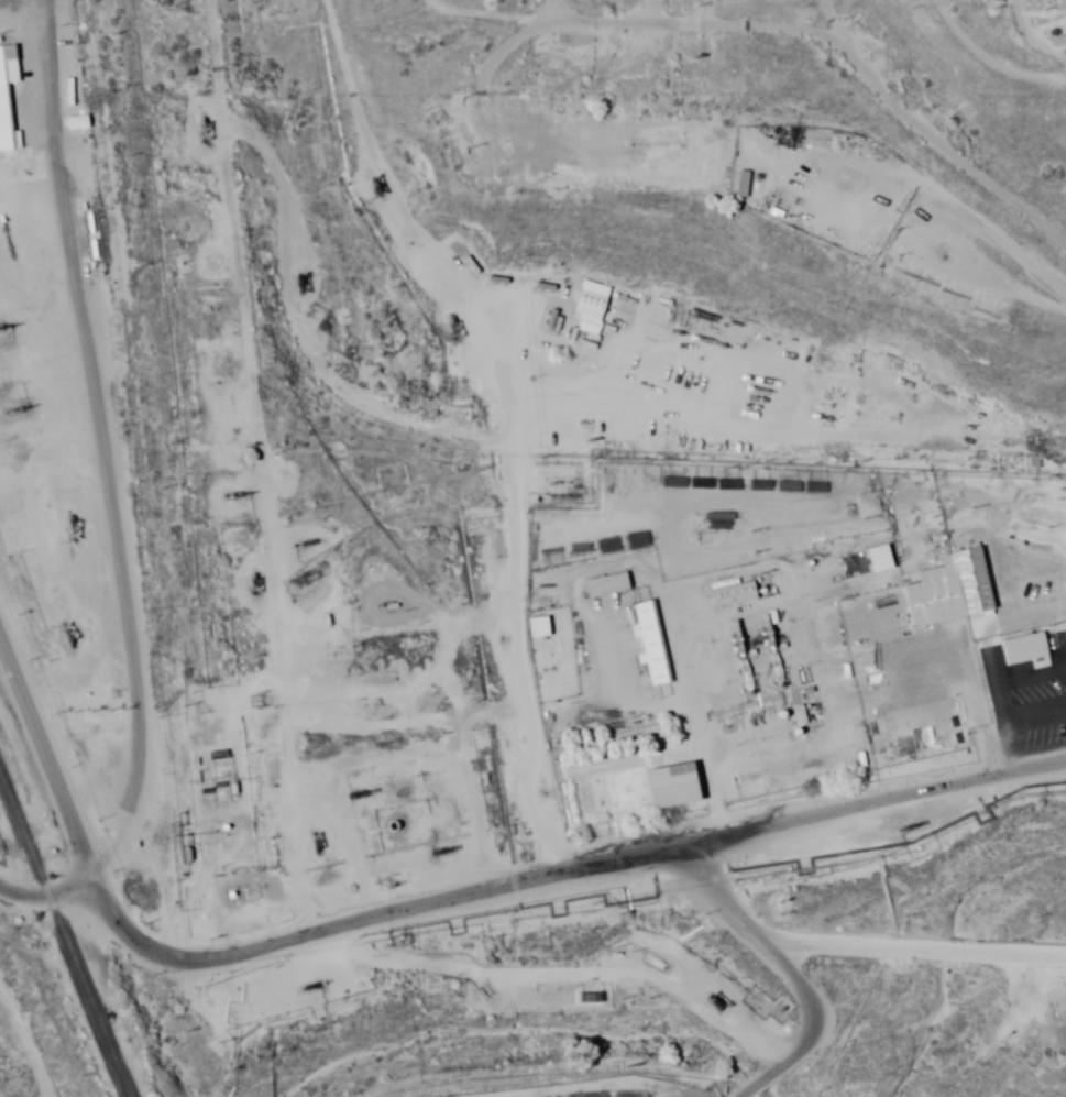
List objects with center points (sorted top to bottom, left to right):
road: (562, 9)
road: (700, 9)
road: (924, 14)
road: (878, 30)
building: (7, 87)
road: (592, 112)
building: (76, 123)
building: (527, 166)
road: (902, 182)
building: (741, 185)
building: (591, 307)
road: (469, 431)
road: (119, 462)
road: (199, 463)
building: (879, 560)
building: (605, 586)
building: (947, 590)
building: (649, 644)
building: (1024, 649)
building: (671, 788)
road: (862, 859)
road: (425, 895)
road: (58, 911)
railway: (63, 941)
road: (732, 955)
road: (810, 998)
road: (856, 1038)
road: (466, 1087)

